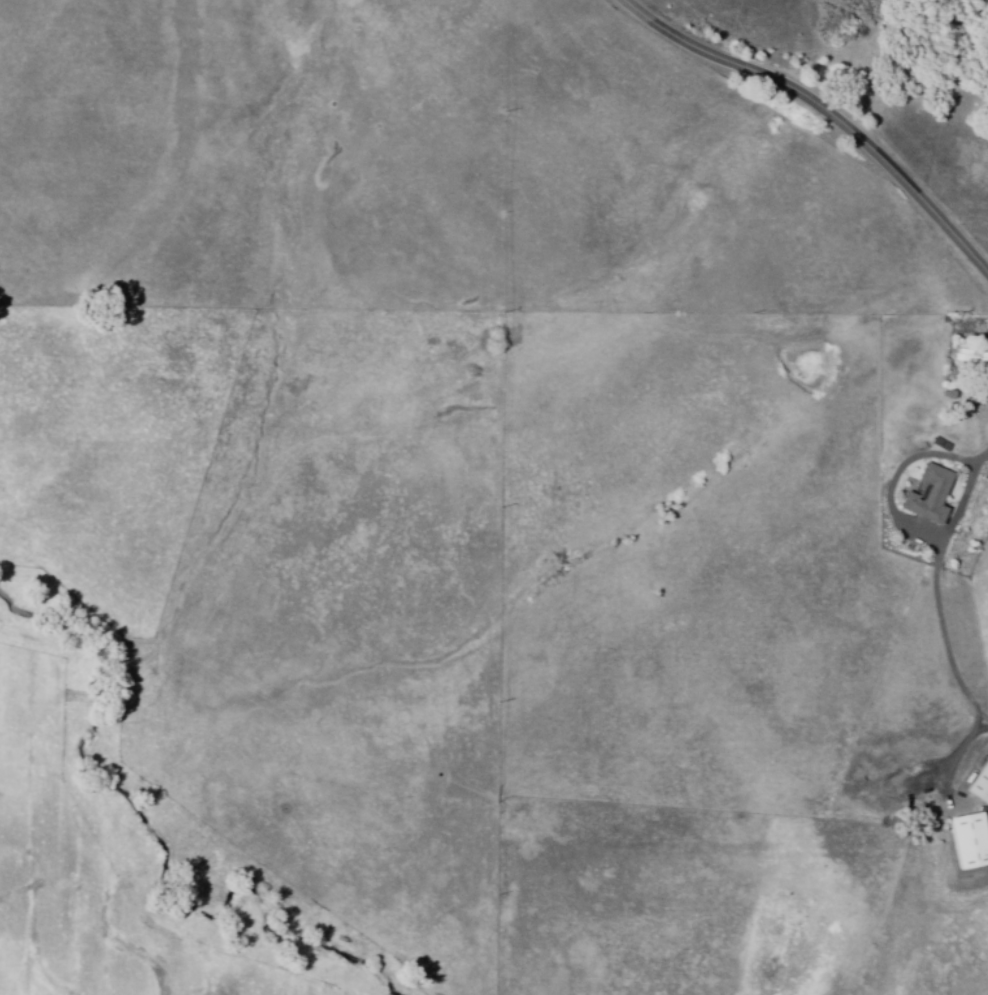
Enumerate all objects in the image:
road: (826, 109)
building: (968, 356)
building: (985, 473)
building: (925, 495)
road: (949, 654)
building: (978, 784)
building: (965, 840)

